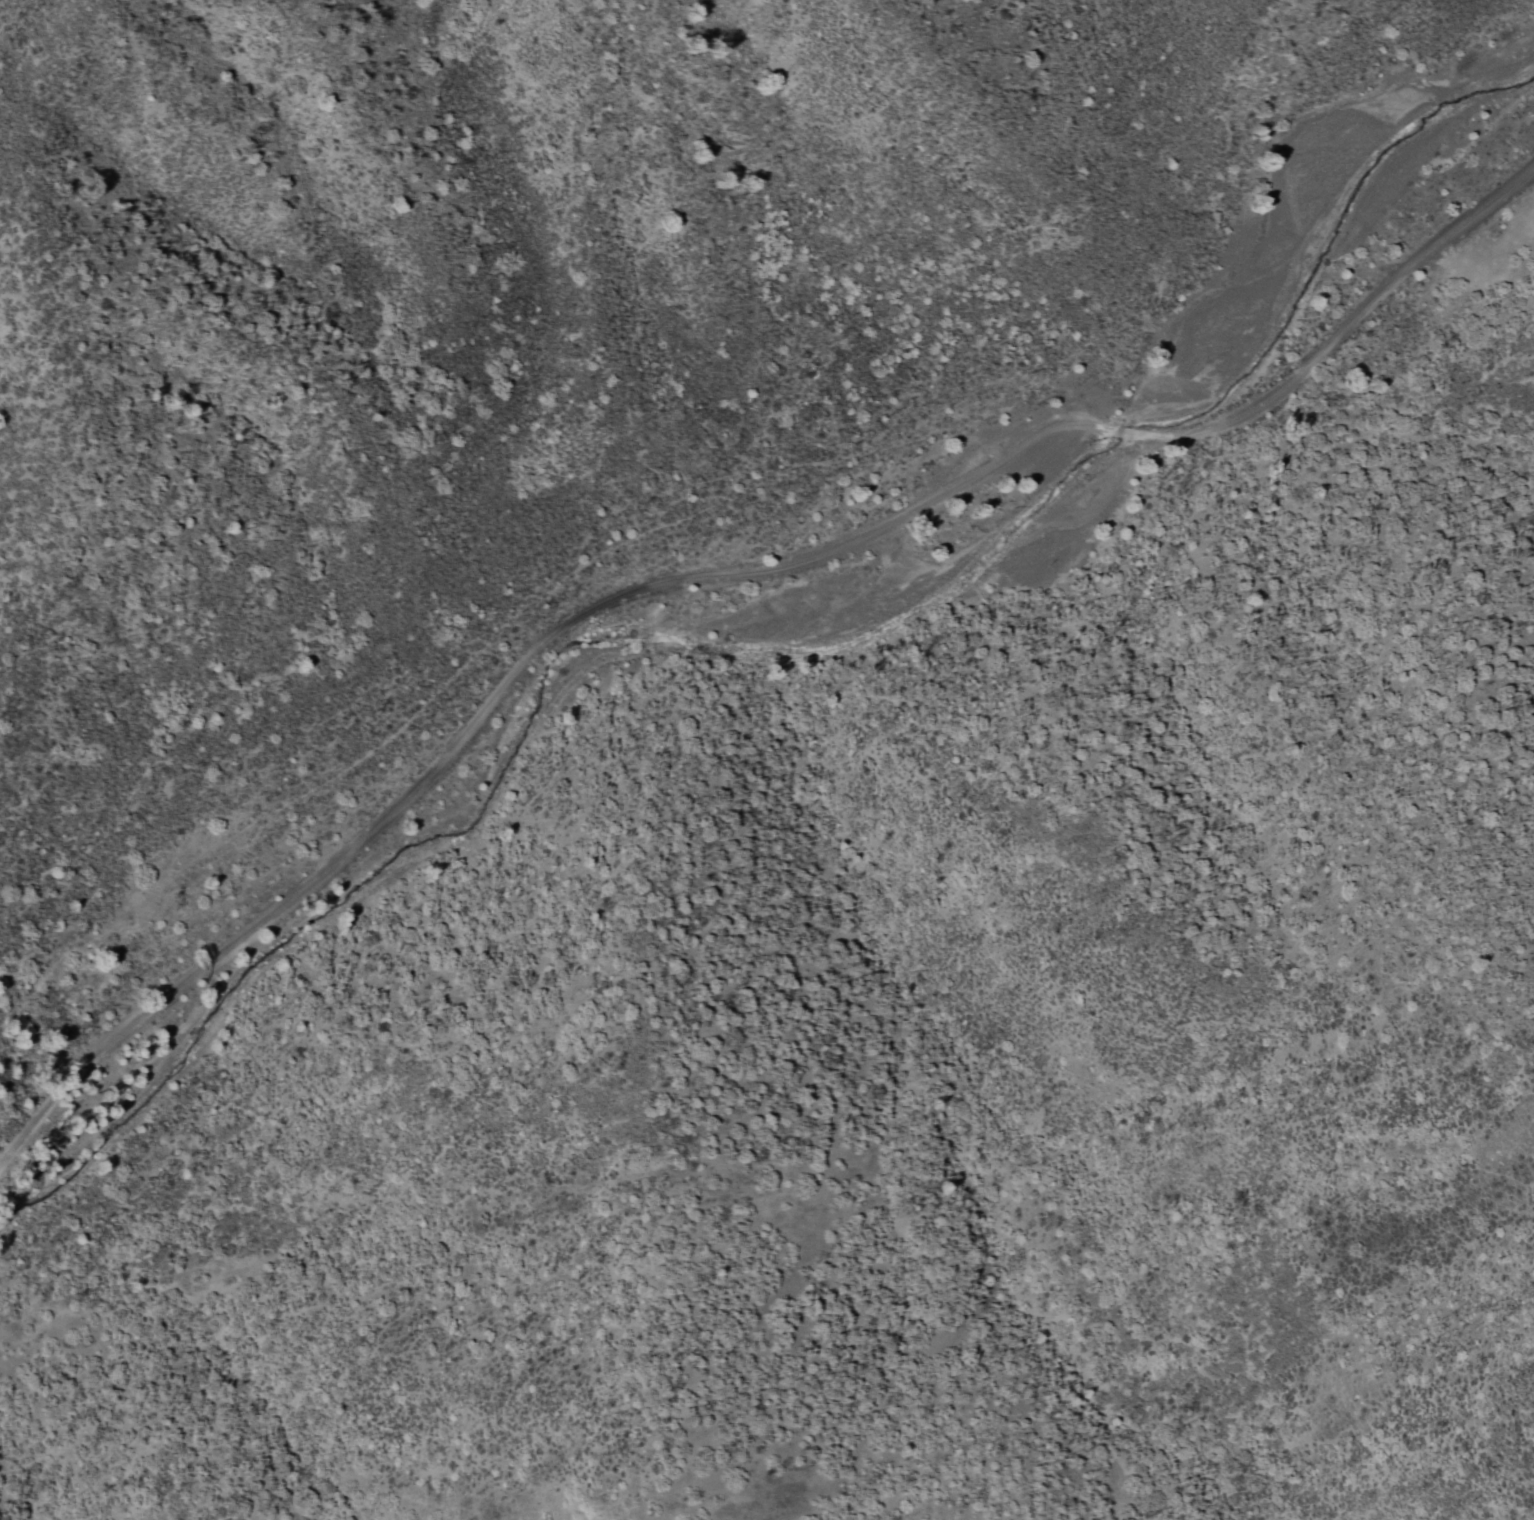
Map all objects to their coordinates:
road: (728, 615)

